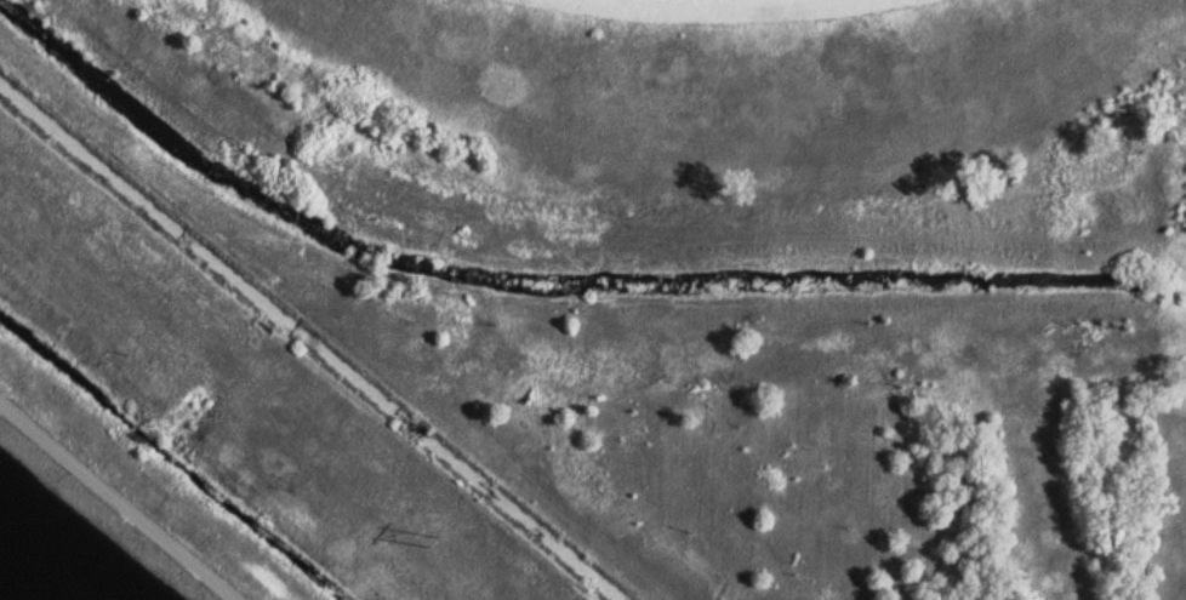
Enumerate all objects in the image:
wastewater plant: (593, 299)
road: (120, 498)
power tower: (423, 528)

